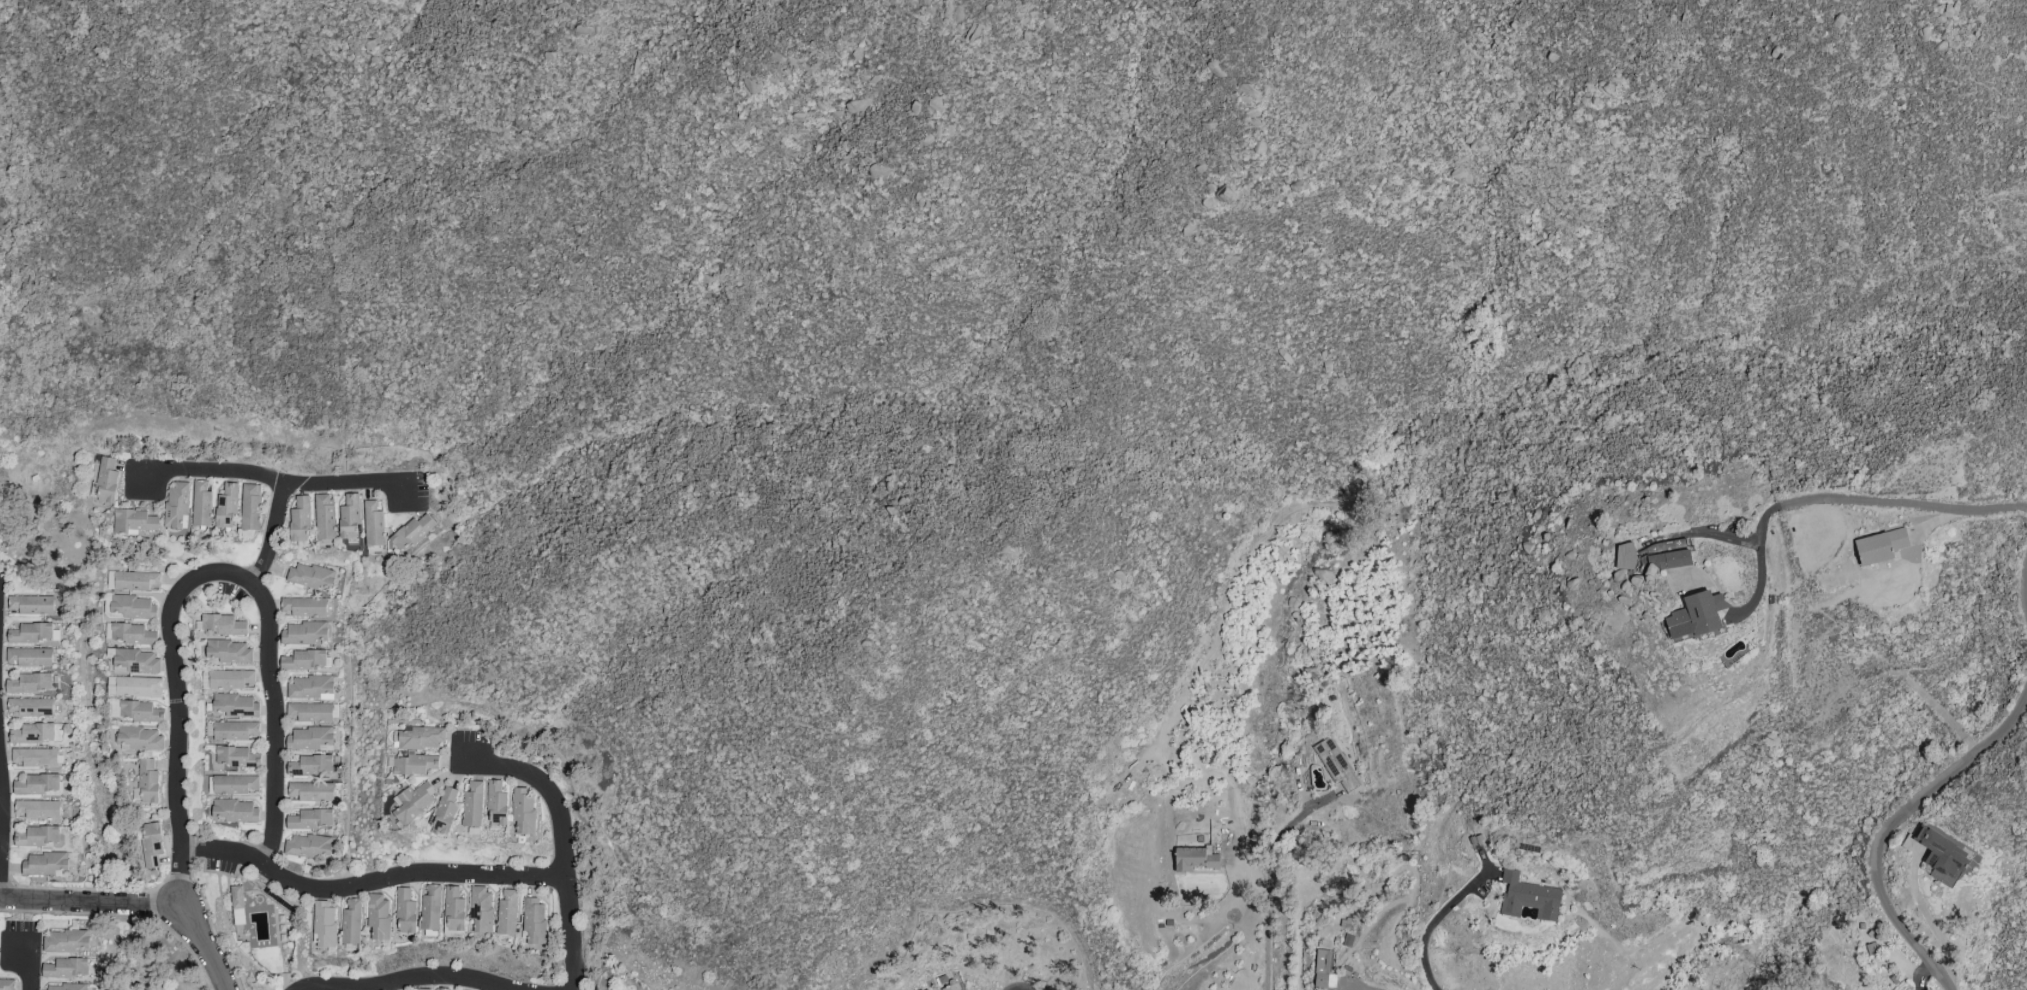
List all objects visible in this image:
road: (277, 480)
building: (106, 481)
road: (1842, 499)
building: (176, 504)
building: (201, 504)
building: (226, 506)
building: (250, 507)
building: (324, 517)
building: (349, 518)
building: (299, 520)
building: (134, 522)
building: (373, 523)
building: (411, 532)
road: (275, 535)
building: (1880, 547)
building: (1668, 560)
building: (310, 576)
building: (136, 581)
building: (32, 605)
building: (133, 607)
building: (303, 607)
building: (1696, 616)
building: (221, 625)
building: (30, 633)
building: (303, 633)
building: (132, 635)
building: (228, 652)
building: (29, 657)
building: (136, 661)
building: (304, 661)
building: (230, 680)
building: (30, 684)
building: (134, 687)
building: (309, 688)
building: (234, 706)
building: (30, 707)
road: (178, 709)
building: (134, 711)
building: (309, 712)
road: (276, 723)
building: (231, 731)
building: (35, 734)
building: (139, 739)
building: (310, 739)
building: (421, 739)
building: (234, 757)
building: (35, 758)
building: (1335, 764)
building: (414, 765)
building: (310, 766)
building: (148, 782)
building: (37, 784)
building: (235, 785)
building: (310, 792)
building: (414, 803)
building: (496, 804)
building: (473, 805)
building: (37, 810)
building: (446, 810)
building: (523, 810)
building: (234, 811)
road: (3, 814)
building: (310, 820)
road: (1288, 822)
road: (1893, 826)
building: (37, 837)
building: (151, 845)
building: (307, 847)
road: (563, 847)
building: (1940, 857)
building: (1194, 858)
building: (43, 864)
road: (369, 885)
building: (1528, 898)
road: (90, 902)
building: (237, 905)
building: (430, 908)
building: (481, 908)
building: (454, 910)
road: (23, 911)
building: (405, 912)
building: (507, 912)
building: (378, 916)
road: (1927, 919)
building: (534, 921)
building: (350, 922)
building: (324, 924)
road: (1430, 926)
road: (1269, 928)
building: (64, 942)
road: (209, 945)
road: (26, 955)
building: (65, 969)
building: (1322, 969)
road: (412, 980)
building: (6, 984)
building: (949, 987)
building: (62, 988)
building: (420, 989)
building: (442, 989)
building: (927, 989)
road: (1438, 989)

